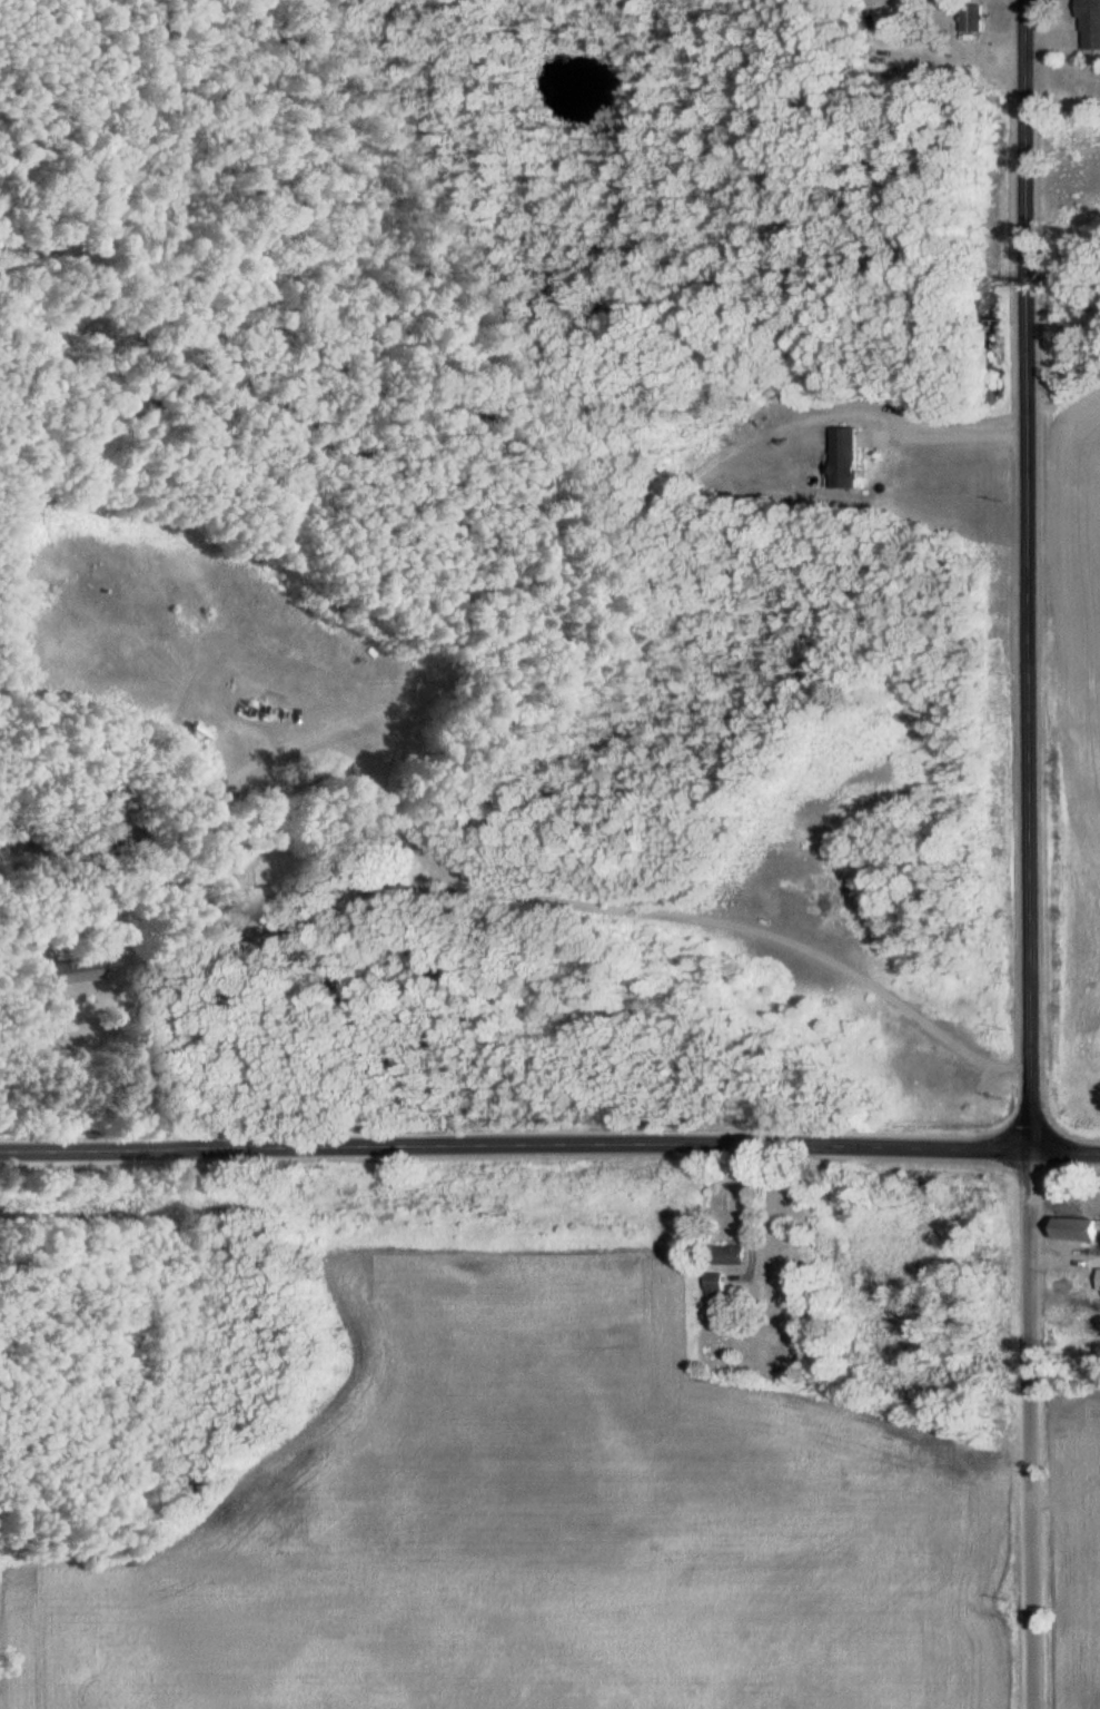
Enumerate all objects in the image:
building: (880, 6)
building: (1091, 26)
building: (848, 461)
road: (1025, 576)
building: (264, 888)
building: (71, 972)
road: (549, 1153)
building: (1080, 1233)
building: (730, 1258)
building: (717, 1288)
road: (1034, 1431)

